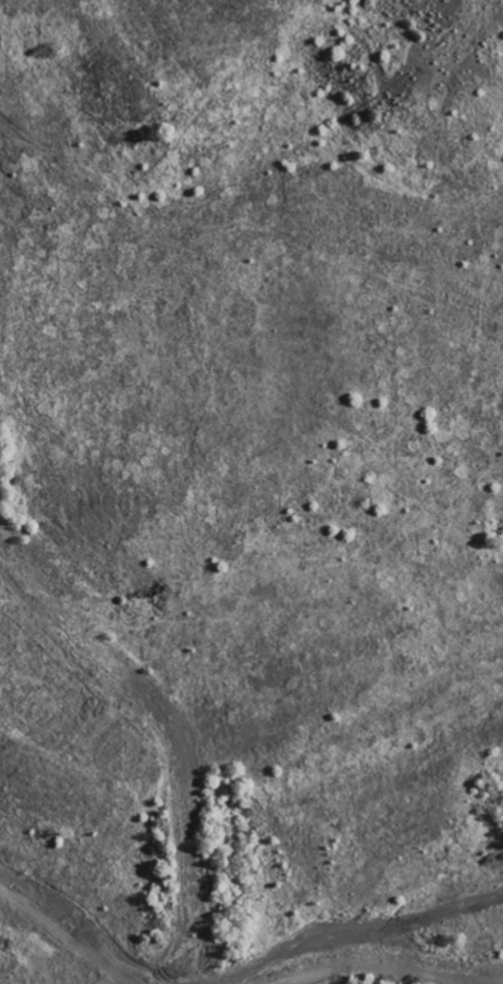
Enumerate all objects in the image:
road: (167, 782)

